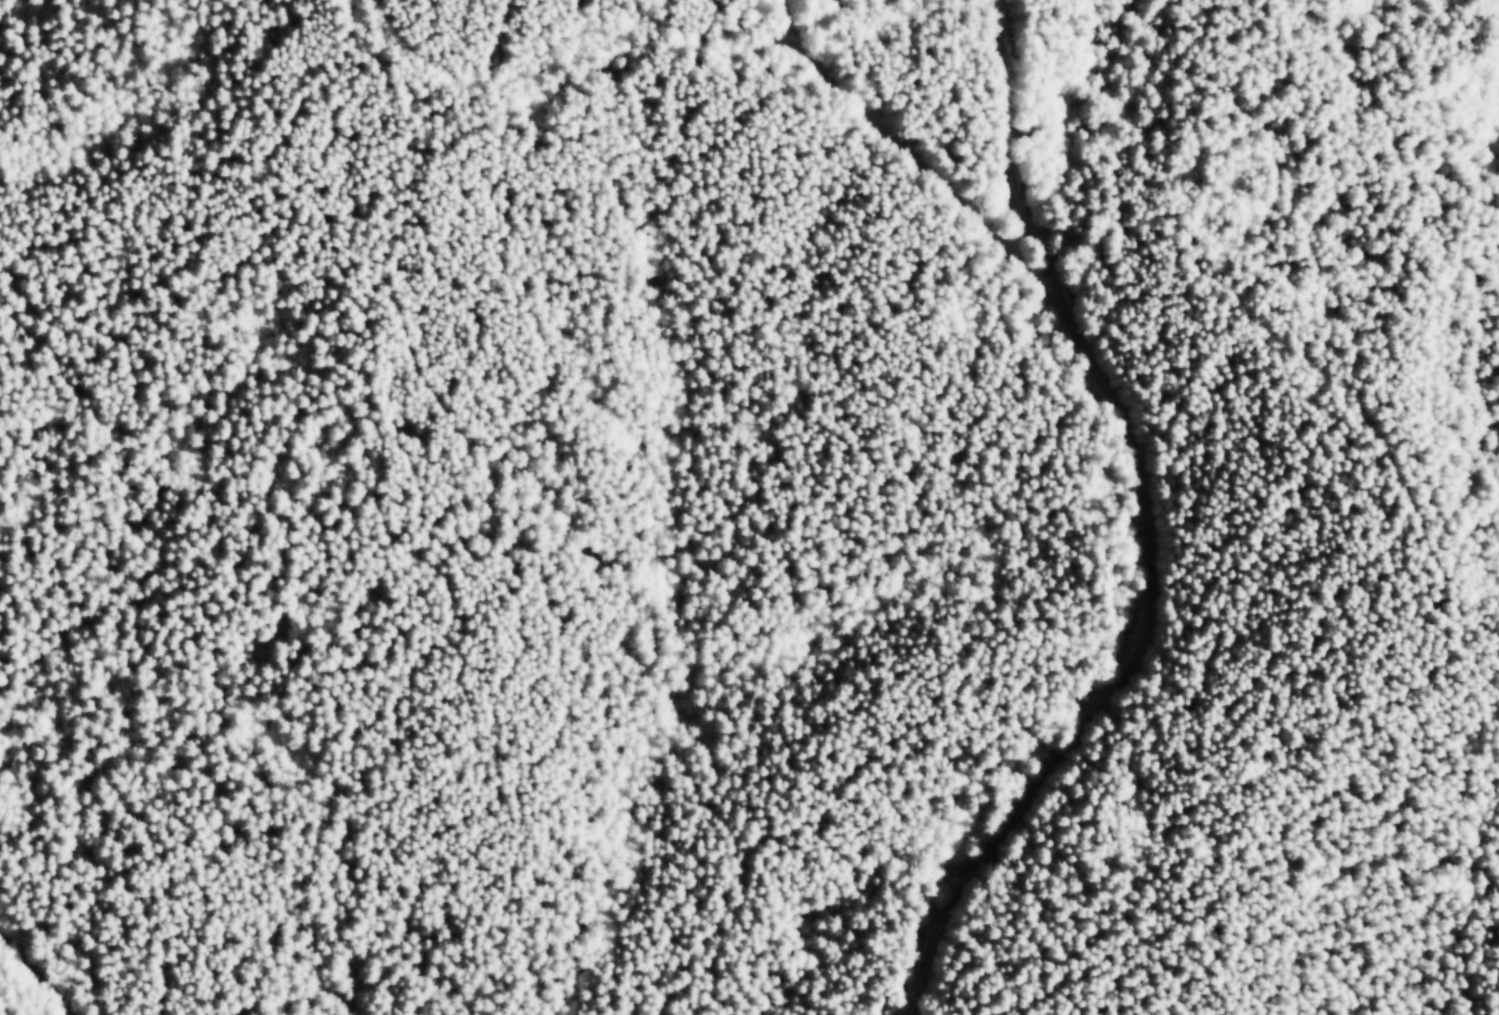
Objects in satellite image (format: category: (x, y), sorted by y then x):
road: (1032, 100)
road: (1203, 476)
road: (54, 961)

